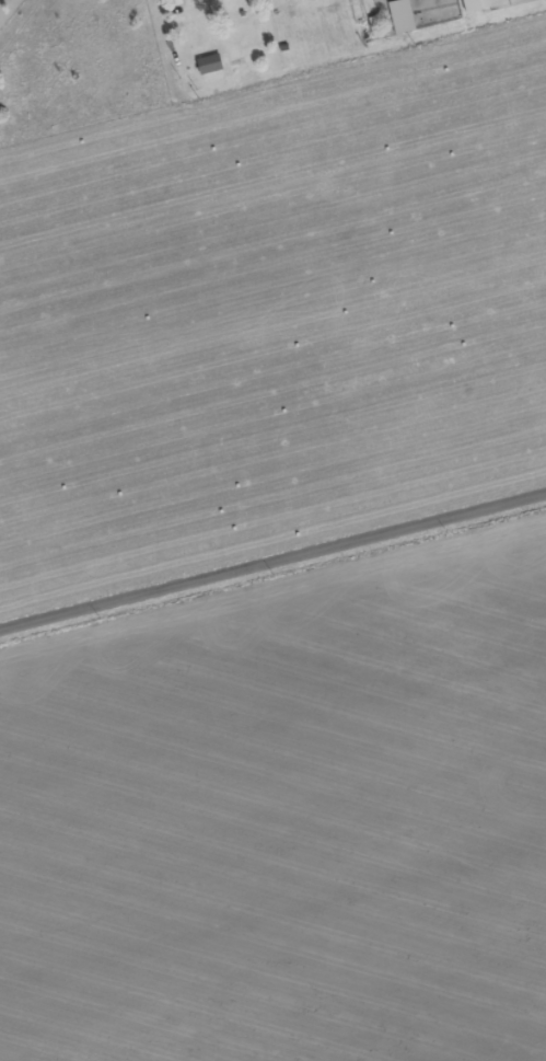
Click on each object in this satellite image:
building: (471, 5)
building: (398, 18)
road: (272, 566)

